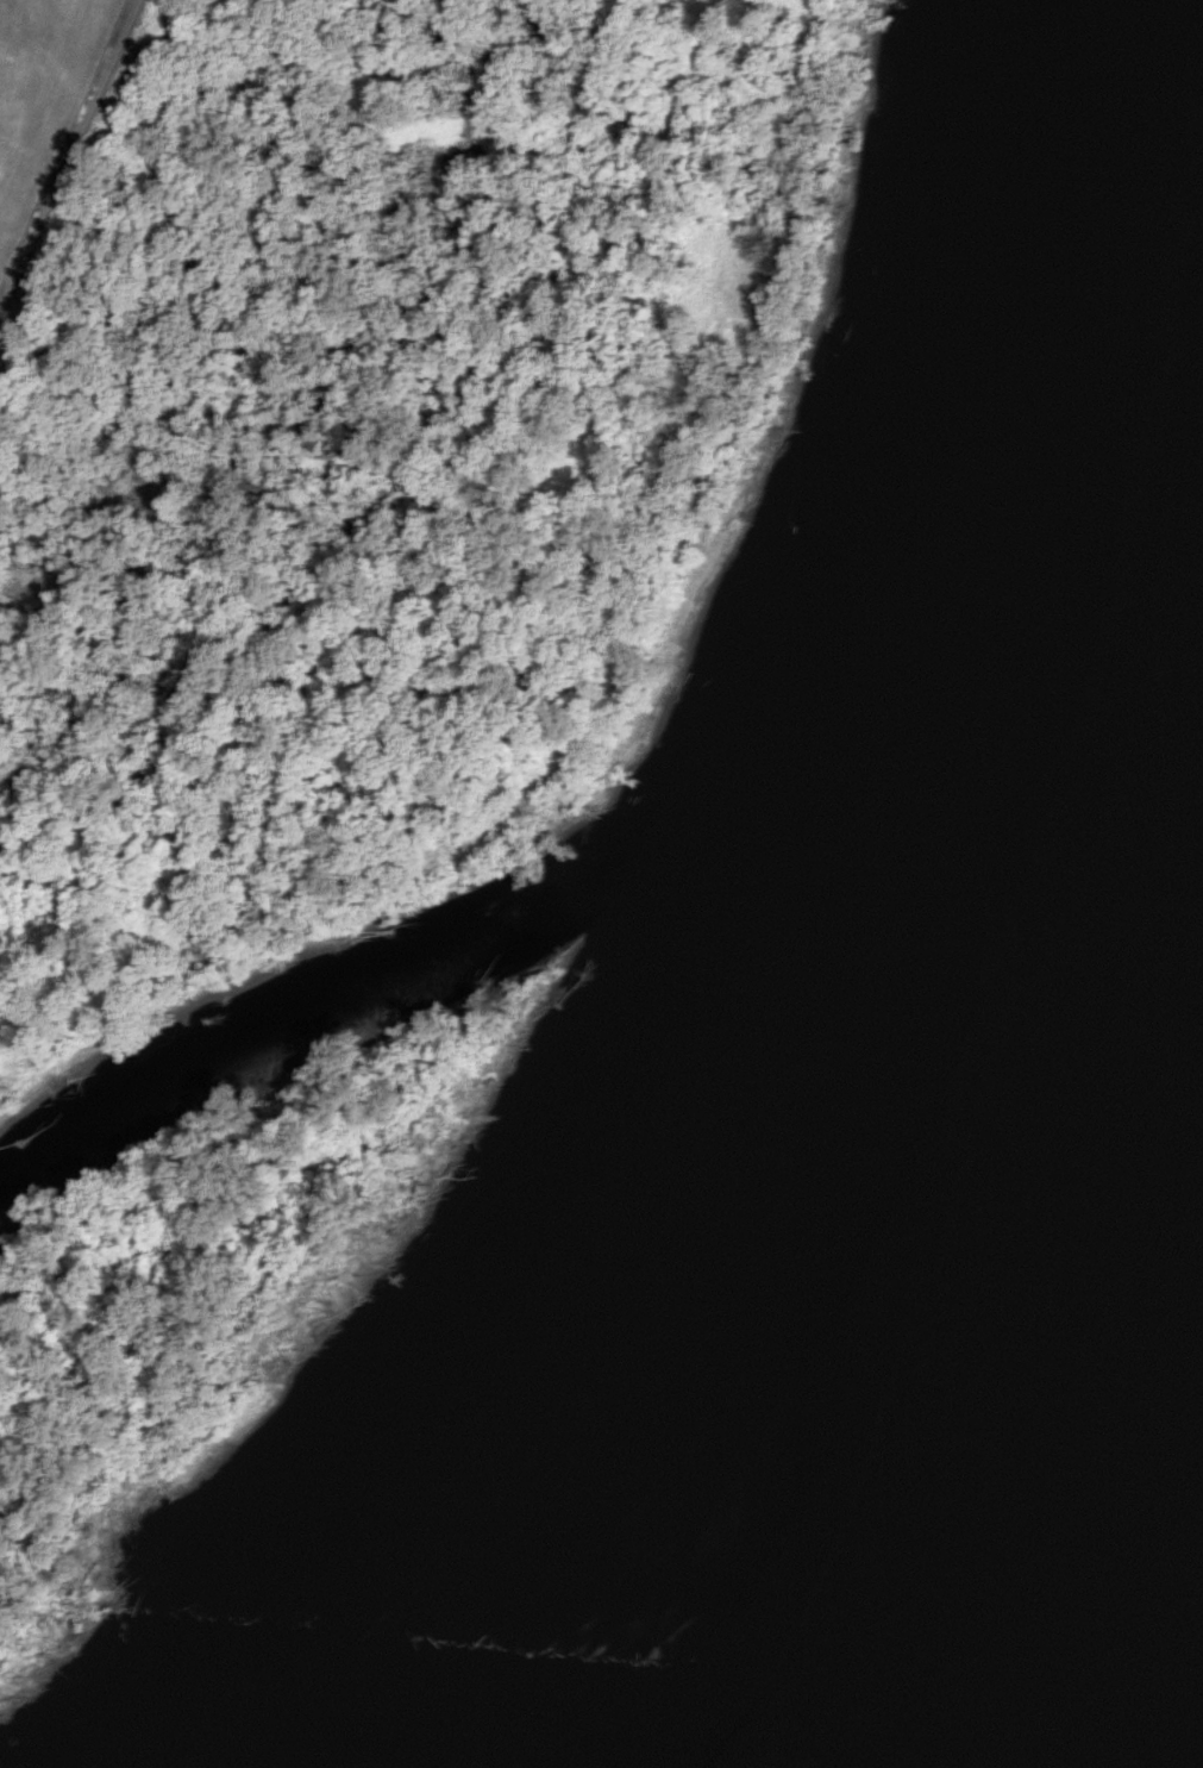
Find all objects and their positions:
crop: (40, 95)
road: (68, 162)
river: (1183, 1714)

